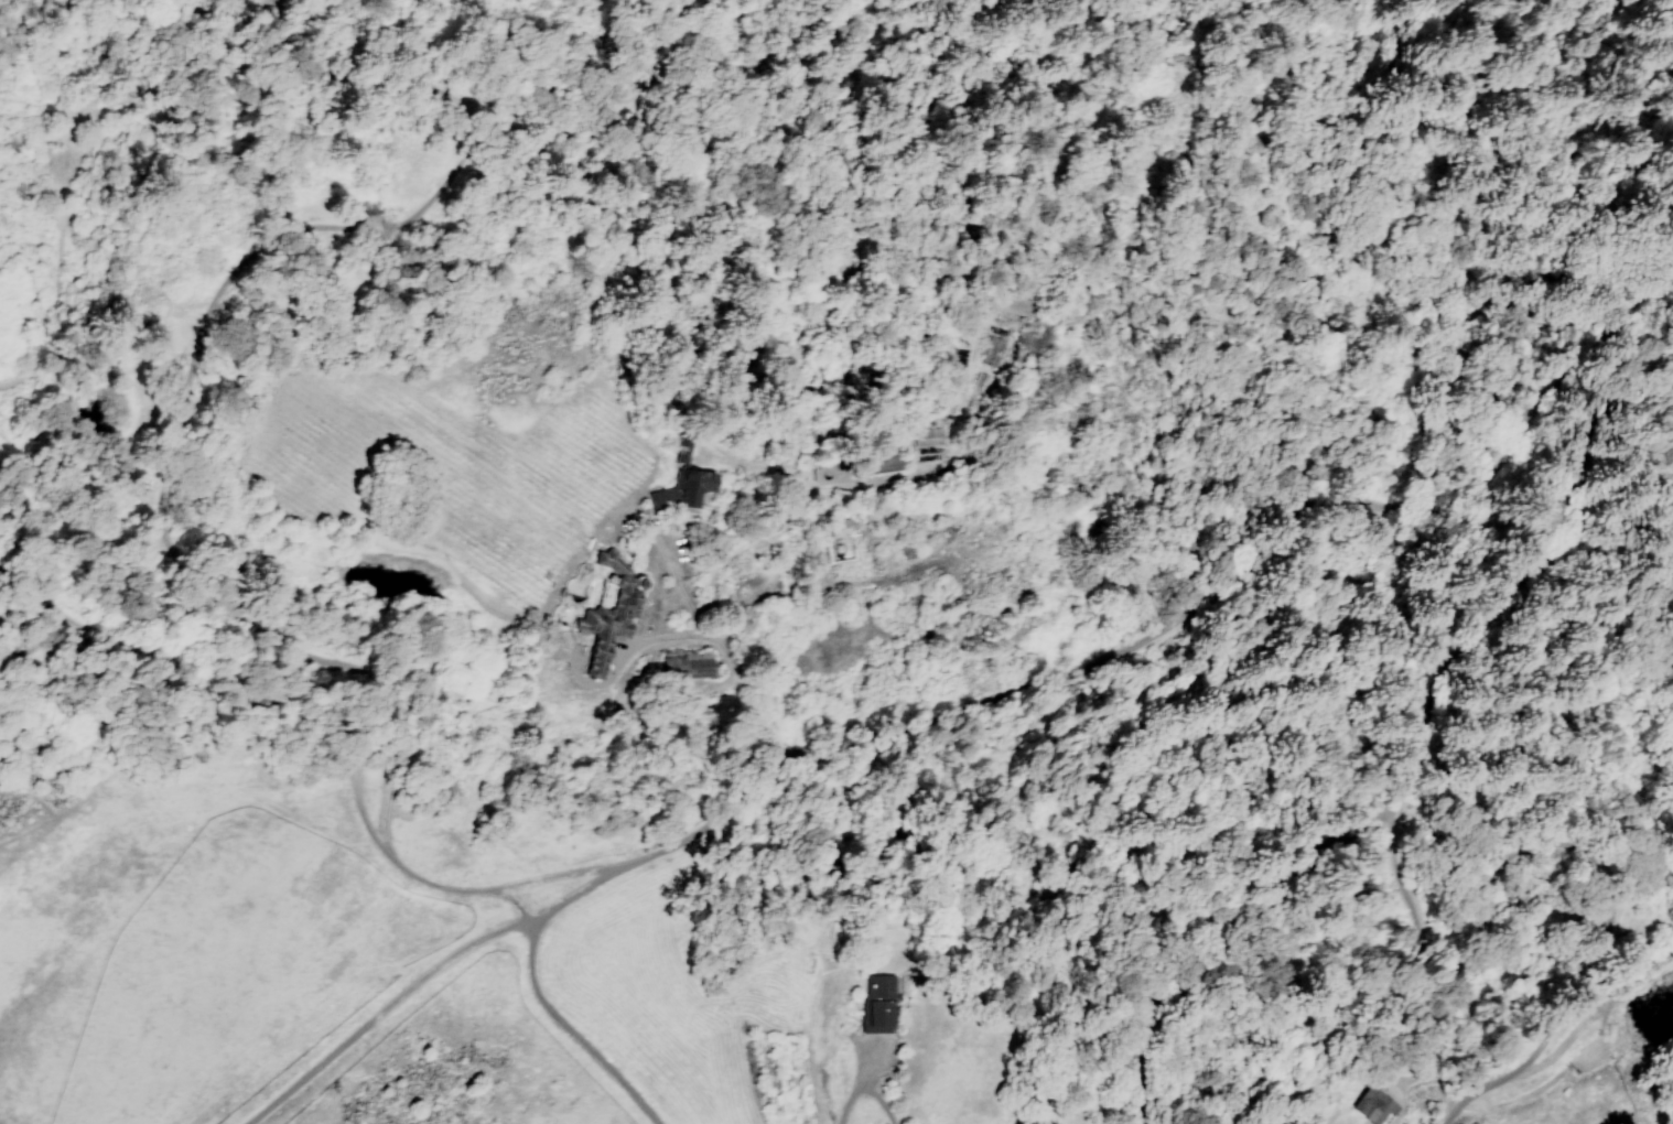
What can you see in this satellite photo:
building: (1011, 310)
building: (682, 483)
building: (596, 613)
road: (1126, 639)
road: (198, 642)
building: (683, 666)
road: (717, 679)
road: (1411, 763)
road: (380, 813)
road: (444, 888)
road: (514, 905)
building: (877, 1005)
road: (382, 1010)
road: (566, 1031)
road: (861, 1090)
building: (1378, 1109)

